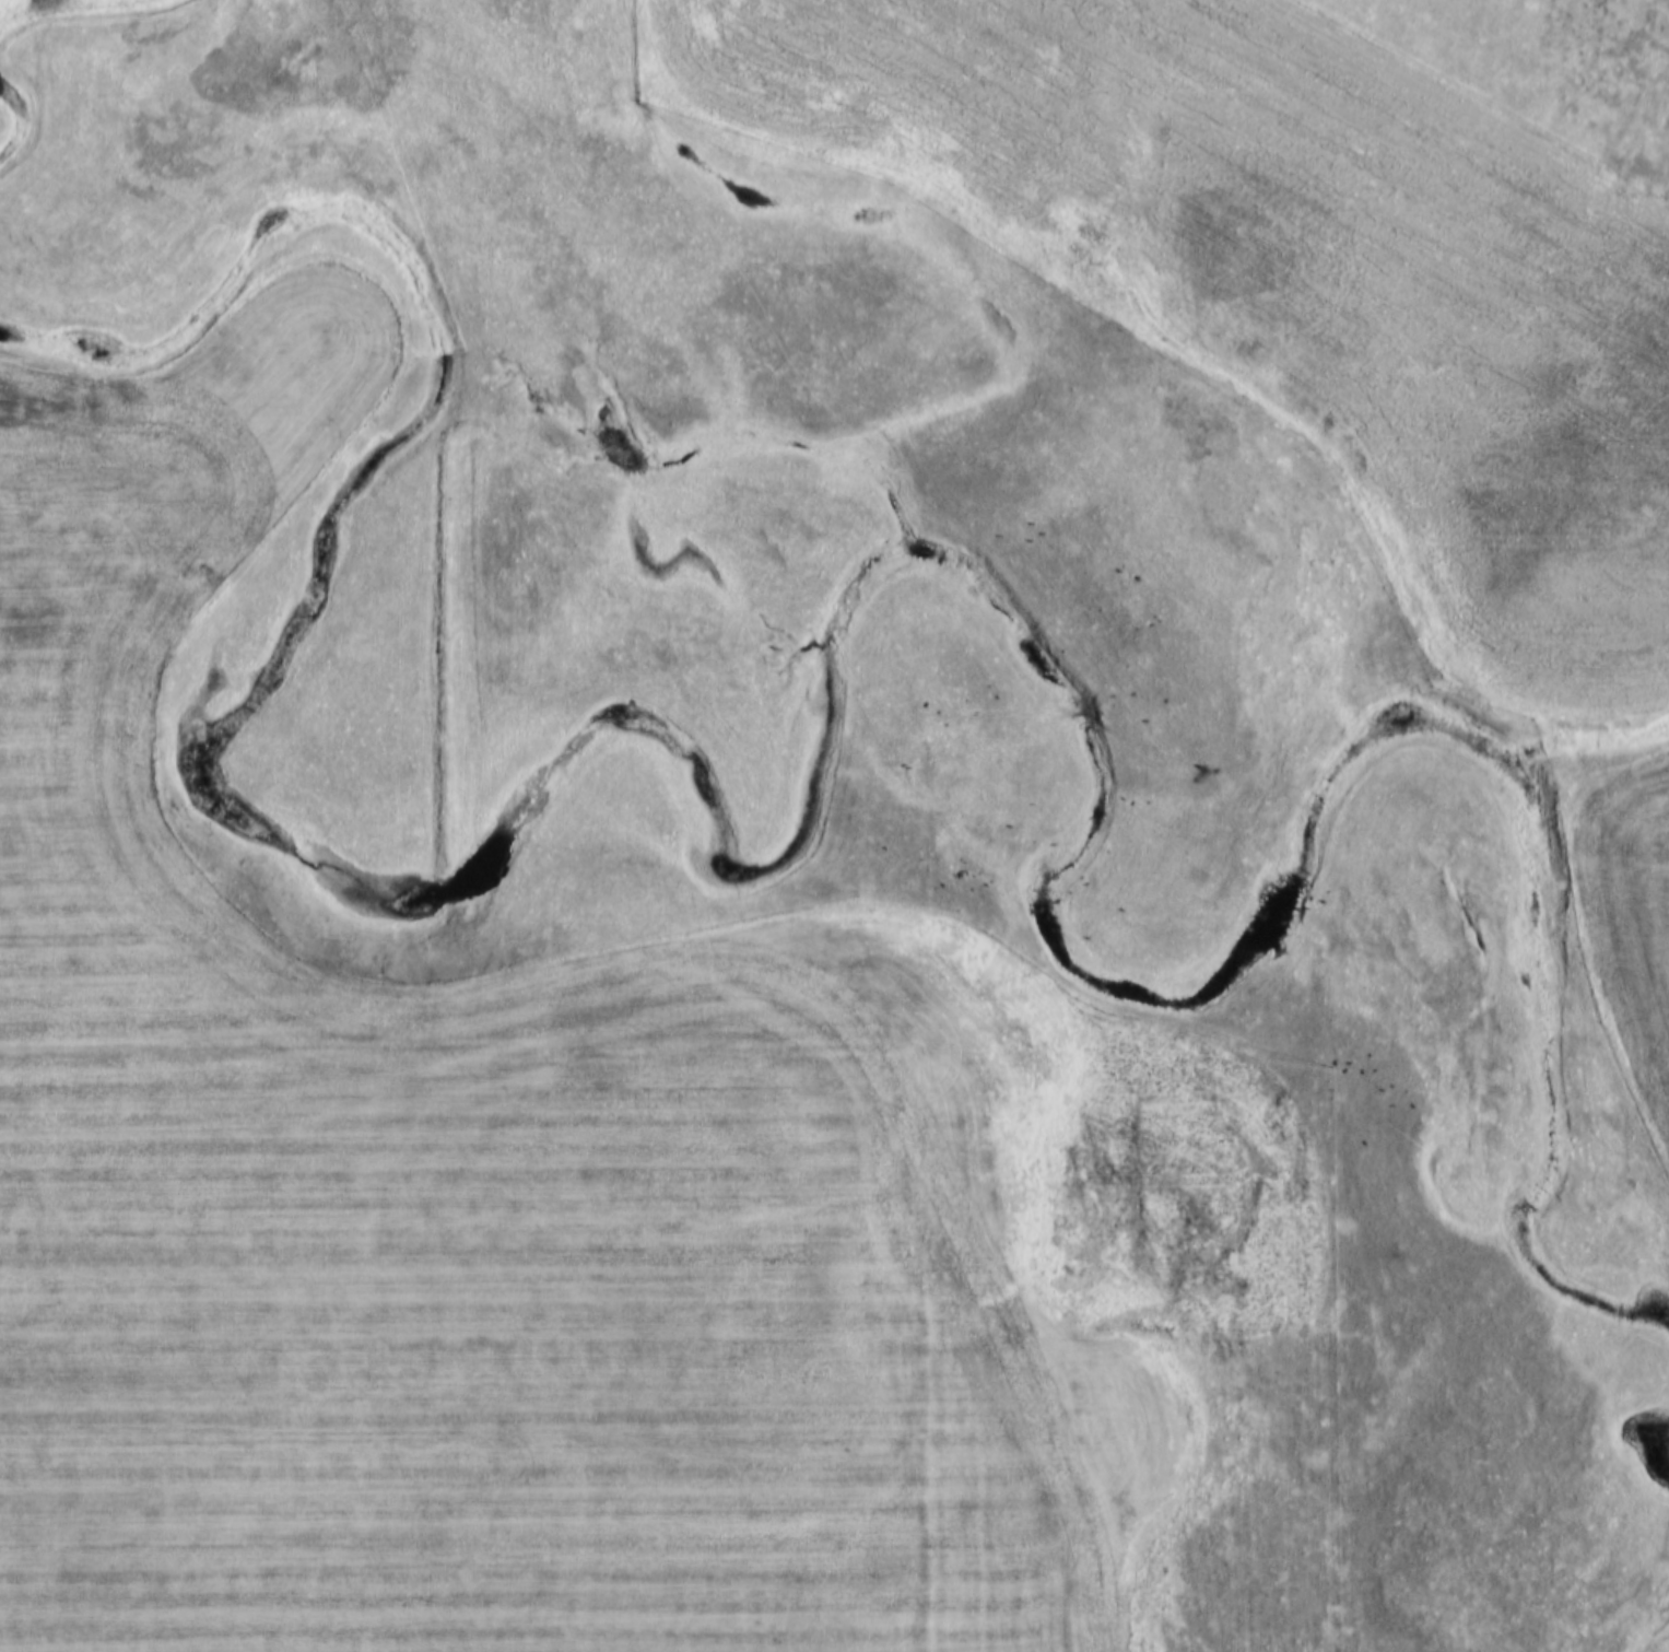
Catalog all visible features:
road: (1661, 4)

